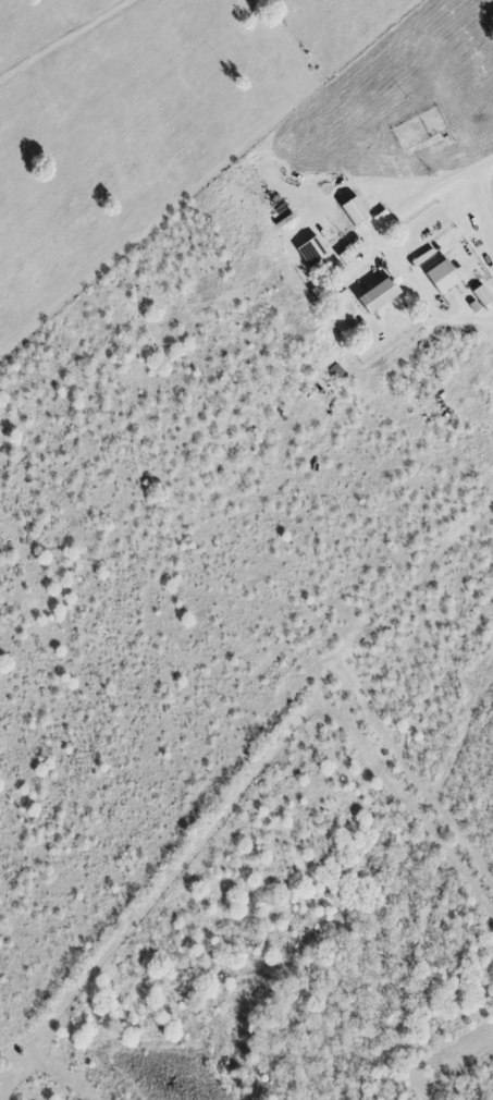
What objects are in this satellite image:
road: (492, 159)
road: (488, 187)
road: (383, 242)
building: (443, 278)
building: (380, 297)

